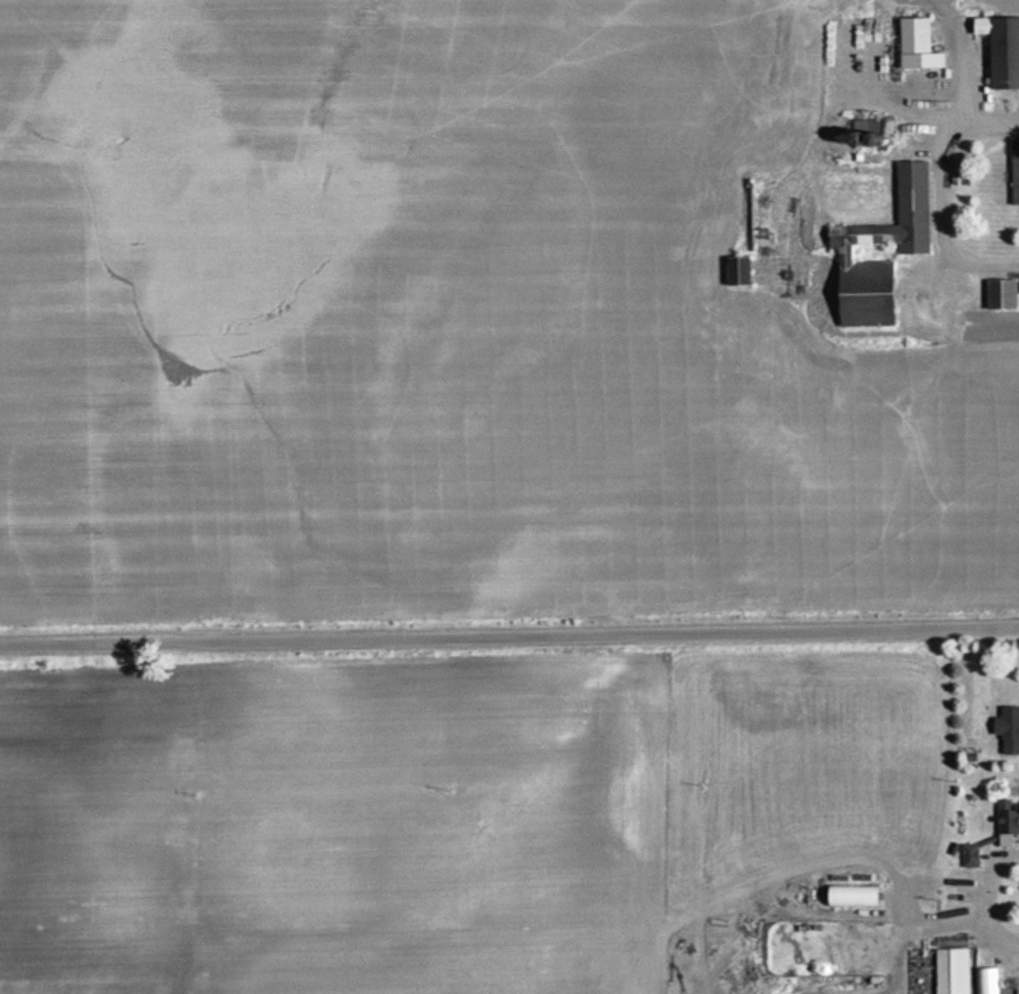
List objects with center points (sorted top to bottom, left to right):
building: (912, 43)
building: (999, 48)
building: (1013, 178)
building: (874, 234)
building: (732, 270)
building: (997, 293)
road: (509, 638)
building: (1006, 729)
building: (1005, 818)
building: (848, 895)
building: (950, 970)
building: (1016, 987)

